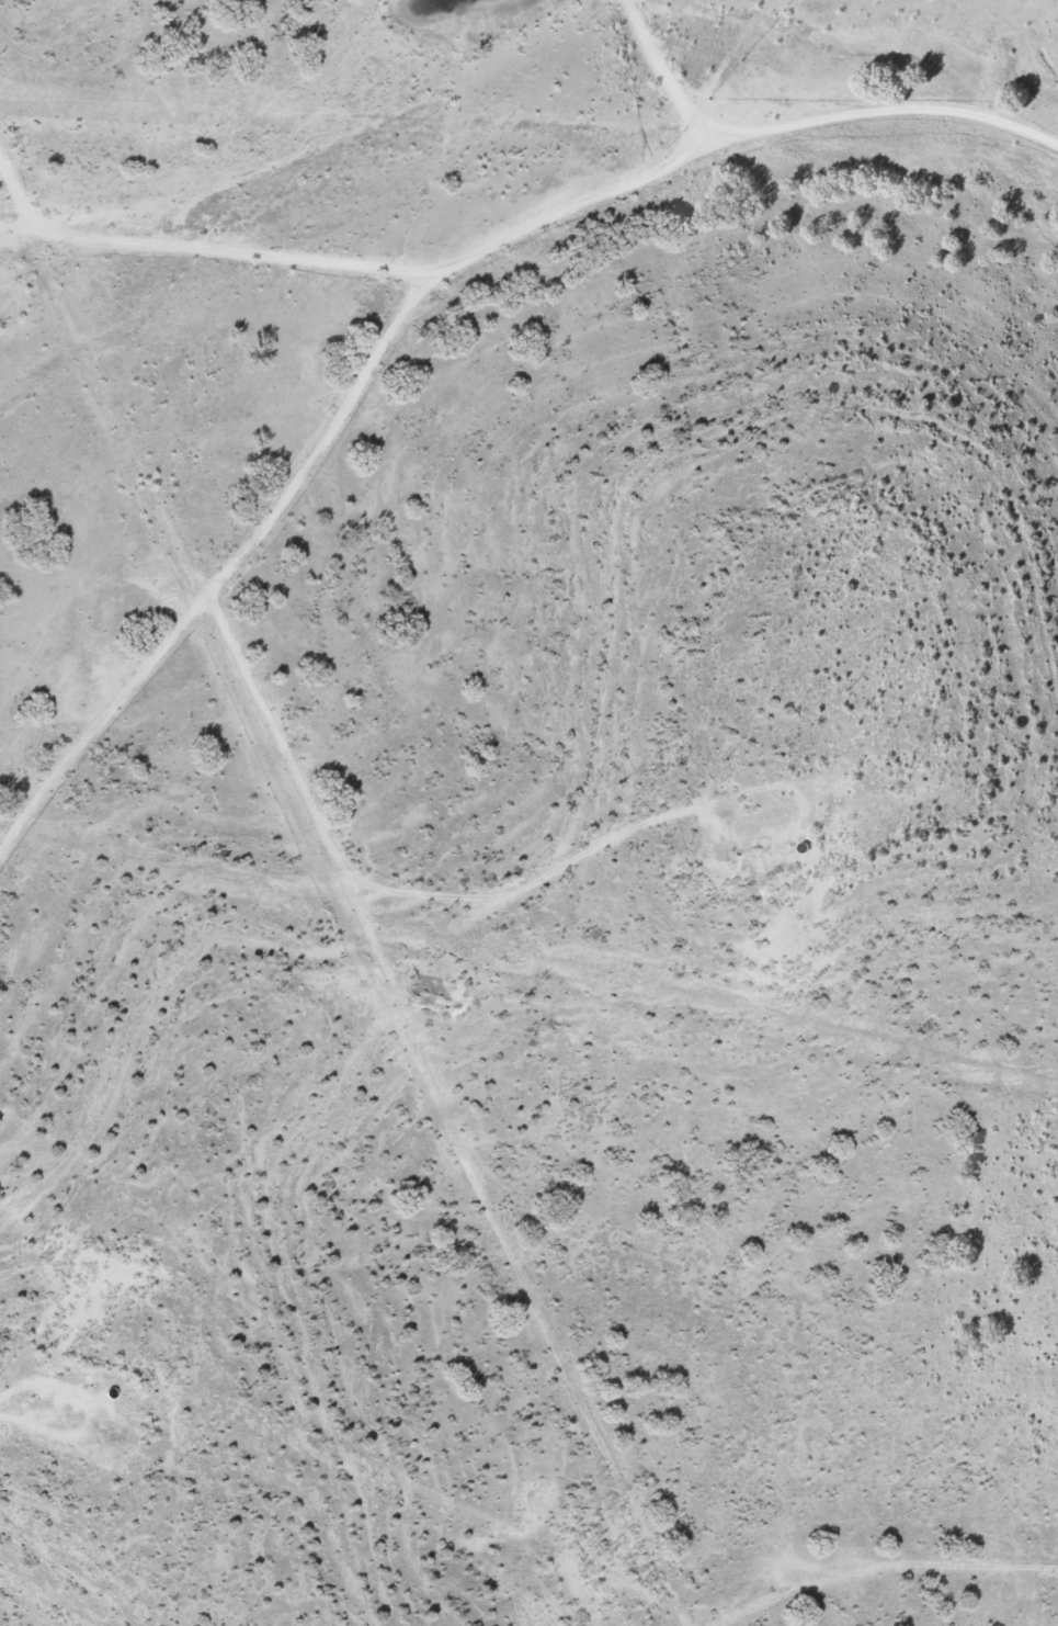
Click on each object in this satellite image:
road: (697, 50)
road: (218, 213)
road: (429, 289)
road: (849, 1565)

